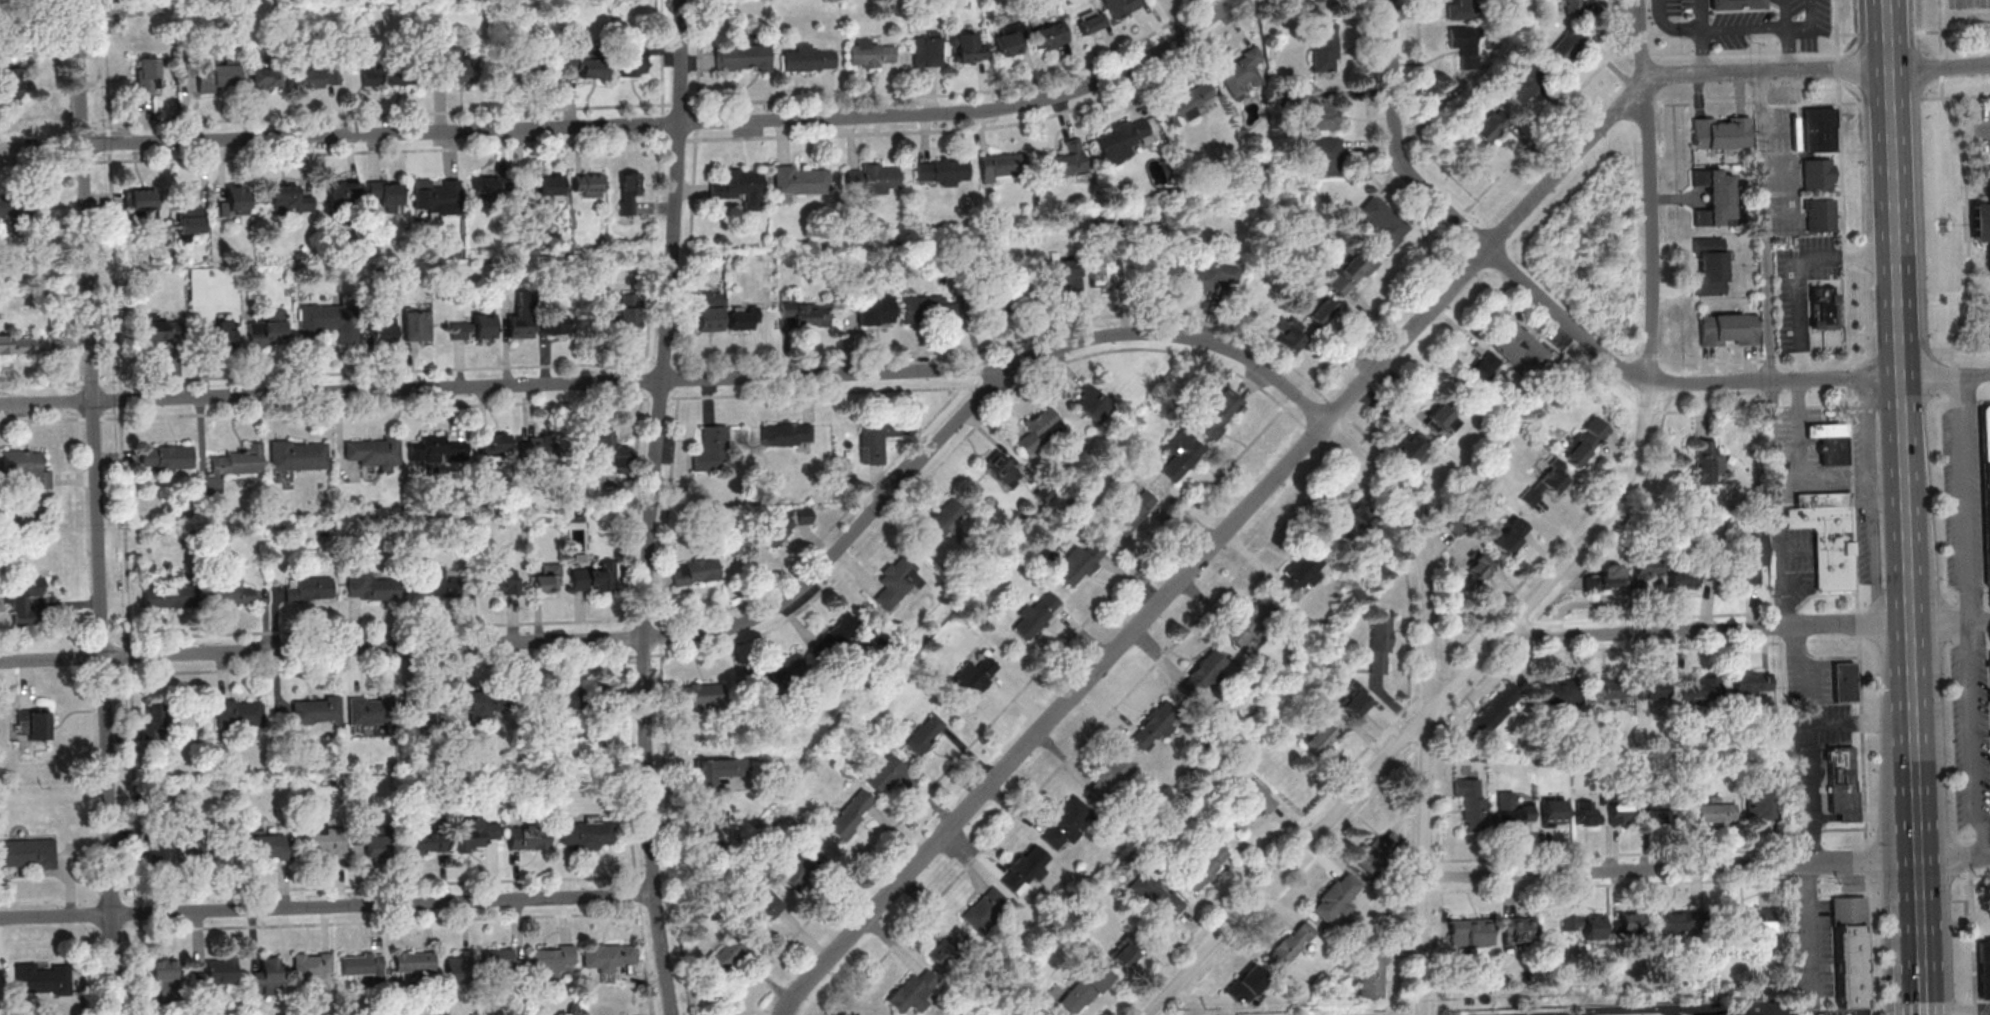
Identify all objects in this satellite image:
building: (1734, 5)
building: (1120, 6)
building: (1572, 6)
building: (1463, 10)
road: (1785, 15)
road: (1702, 16)
building: (1090, 21)
road: (1611, 27)
road: (1812, 28)
road: (1669, 29)
road: (1952, 30)
road: (1744, 32)
road: (1848, 33)
road: (1887, 33)
building: (1050, 36)
building: (1568, 43)
building: (1008, 44)
building: (1465, 45)
building: (1324, 47)
building: (967, 48)
building: (926, 51)
road: (1786, 51)
building: (632, 53)
road: (1703, 53)
building: (870, 54)
road: (1640, 54)
road: (1743, 55)
building: (742, 57)
building: (808, 59)
building: (587, 62)
building: (454, 64)
road: (1940, 66)
building: (519, 68)
building: (216, 70)
building: (1241, 72)
building: (388, 73)
building: (147, 75)
building: (314, 76)
building: (11, 78)
building: (265, 78)
building: (1524, 84)
road: (1955, 96)
road: (1892, 100)
road: (1704, 103)
road: (1761, 103)
building: (1187, 104)
road: (1816, 104)
road: (1649, 105)
road: (1419, 110)
building: (1323, 116)
road: (633, 124)
building: (1491, 126)
building: (1819, 129)
road: (1983, 129)
parking lot: (1986, 129)
building: (1721, 132)
building: (1121, 140)
building: (1321, 156)
building: (1066, 160)
building: (1001, 166)
building: (941, 172)
building: (1817, 173)
building: (873, 179)
building: (800, 182)
road: (1965, 182)
building: (589, 186)
building: (543, 187)
building: (489, 188)
building: (740, 188)
building: (345, 192)
building: (628, 192)
building: (387, 195)
building: (437, 196)
building: (1714, 198)
building: (290, 199)
building: (232, 204)
building: (13, 205)
building: (143, 205)
building: (190, 214)
building: (1820, 215)
building: (1982, 216)
road: (1457, 221)
building: (1383, 225)
road: (1765, 226)
building: (1102, 266)
building: (1710, 266)
road: (1799, 270)
building: (1351, 272)
building: (1065, 274)
building: (1205, 276)
road: (1494, 291)
building: (1004, 302)
building: (1823, 307)
parking lot: (1989, 307)
road: (1552, 309)
building: (709, 310)
building: (875, 310)
building: (928, 310)
road: (1899, 311)
building: (1322, 312)
building: (628, 313)
building: (806, 313)
road: (1987, 315)
building: (743, 318)
building: (553, 320)
building: (331, 321)
building: (520, 325)
building: (476, 326)
building: (417, 327)
building: (268, 329)
building: (1729, 329)
building: (158, 333)
building: (381, 333)
building: (1289, 334)
building: (217, 335)
building: (15, 345)
building: (1520, 346)
road: (1960, 348)
road: (1849, 350)
building: (1482, 370)
road: (1945, 374)
road: (680, 381)
building: (1093, 403)
road: (1671, 411)
building: (1219, 413)
road: (1645, 413)
building: (1438, 418)
road: (1330, 420)
road: (1798, 428)
building: (1040, 430)
road: (1785, 433)
building: (786, 434)
building: (876, 438)
building: (1585, 441)
building: (1829, 441)
building: (495, 444)
building: (539, 447)
building: (1412, 449)
building: (437, 450)
building: (611, 450)
building: (711, 450)
building: (373, 452)
building: (1181, 454)
building: (299, 455)
building: (168, 458)
building: (238, 461)
building: (1707, 462)
building: (24, 468)
building: (1002, 469)
road: (1823, 476)
building: (1553, 479)
building: (1986, 483)
road: (1964, 497)
road: (1873, 500)
road: (1776, 503)
road: (98, 507)
road: (654, 507)
building: (1133, 511)
building: (1358, 515)
road: (1625, 519)
building: (942, 523)
building: (783, 528)
building: (1827, 536)
building: (1505, 542)
building: (1753, 556)
building: (1080, 563)
building: (1478, 568)
building: (1647, 568)
building: (1699, 568)
building: (695, 572)
road: (1555, 573)
building: (1298, 574)
building: (596, 577)
building: (1606, 578)
building: (548, 579)
building: (501, 581)
building: (898, 581)
building: (435, 583)
building: (370, 587)
building: (310, 589)
building: (233, 591)
road: (1824, 594)
building: (170, 595)
building: (22, 600)
road: (1593, 605)
road: (1786, 611)
building: (1036, 614)
road: (1656, 617)
road: (1980, 620)
building: (1250, 621)
road: (1940, 622)
road: (1705, 629)
building: (839, 636)
road: (558, 642)
building: (1380, 644)
road: (1989, 648)
road: (1803, 661)
road: (1911, 661)
building: (1989, 663)
building: (779, 672)
building: (1202, 674)
building: (974, 677)
building: (1844, 682)
building: (1752, 683)
building: (1656, 688)
building: (1700, 690)
building: (1605, 691)
building: (1558, 692)
building: (695, 695)
building: (1356, 701)
building: (564, 702)
road: (1429, 703)
building: (476, 705)
building: (1495, 709)
building: (316, 710)
building: (367, 711)
building: (421, 711)
building: (239, 713)
building: (154, 721)
building: (35, 723)
building: (1155, 725)
building: (925, 734)
building: (1320, 739)
road: (1973, 742)
road: (1809, 744)
road: (1914, 749)
building: (717, 769)
building: (884, 772)
building: (1111, 776)
building: (1841, 784)
building: (1472, 802)
building: (1760, 805)
building: (1251, 806)
building: (1511, 811)
building: (1715, 812)
building: (1554, 813)
building: (1587, 813)
building: (1654, 813)
building: (1619, 814)
building: (852, 815)
building: (1065, 824)
building: (715, 830)
road: (1917, 832)
building: (588, 834)
building: (477, 835)
building: (528, 837)
building: (372, 841)
building: (426, 842)
building: (323, 843)
building: (269, 845)
building: (157, 852)
building: (188, 852)
building: (1378, 852)
building: (27, 854)
road: (1867, 858)
road: (1953, 863)
building: (1205, 867)
building: (801, 868)
road: (1970, 868)
building: (1025, 870)
road: (1671, 871)
road: (1918, 881)
building: (1159, 896)
building: (1338, 897)
road: (327, 906)
building: (985, 909)
building: (761, 911)
building: (1754, 920)
building: (1630, 922)
building: (1674, 922)
building: (1571, 923)
road: (1810, 925)
building: (1593, 927)
building: (1518, 931)
building: (1470, 932)
road: (1972, 943)
building: (1290, 945)
road: (1921, 945)
building: (950, 947)
building: (1848, 952)
building: (1125, 954)
building: (725, 955)
building: (607, 956)
building: (498, 959)
building: (550, 960)
building: (414, 962)
building: (311, 965)
building: (362, 965)
building: (457, 967)
building: (1984, 967)
building: (165, 972)
building: (1372, 973)
building: (215, 974)
building: (267, 976)
road: (811, 977)
building: (42, 979)
building: (1247, 984)
building: (1085, 988)
building: (913, 992)
road: (1923, 1003)
road: (1721, 1005)
road: (1627, 1010)
road: (1956, 1011)
building: (1731, 1014)
building: (1762, 1014)
road: (1924, 1014)

